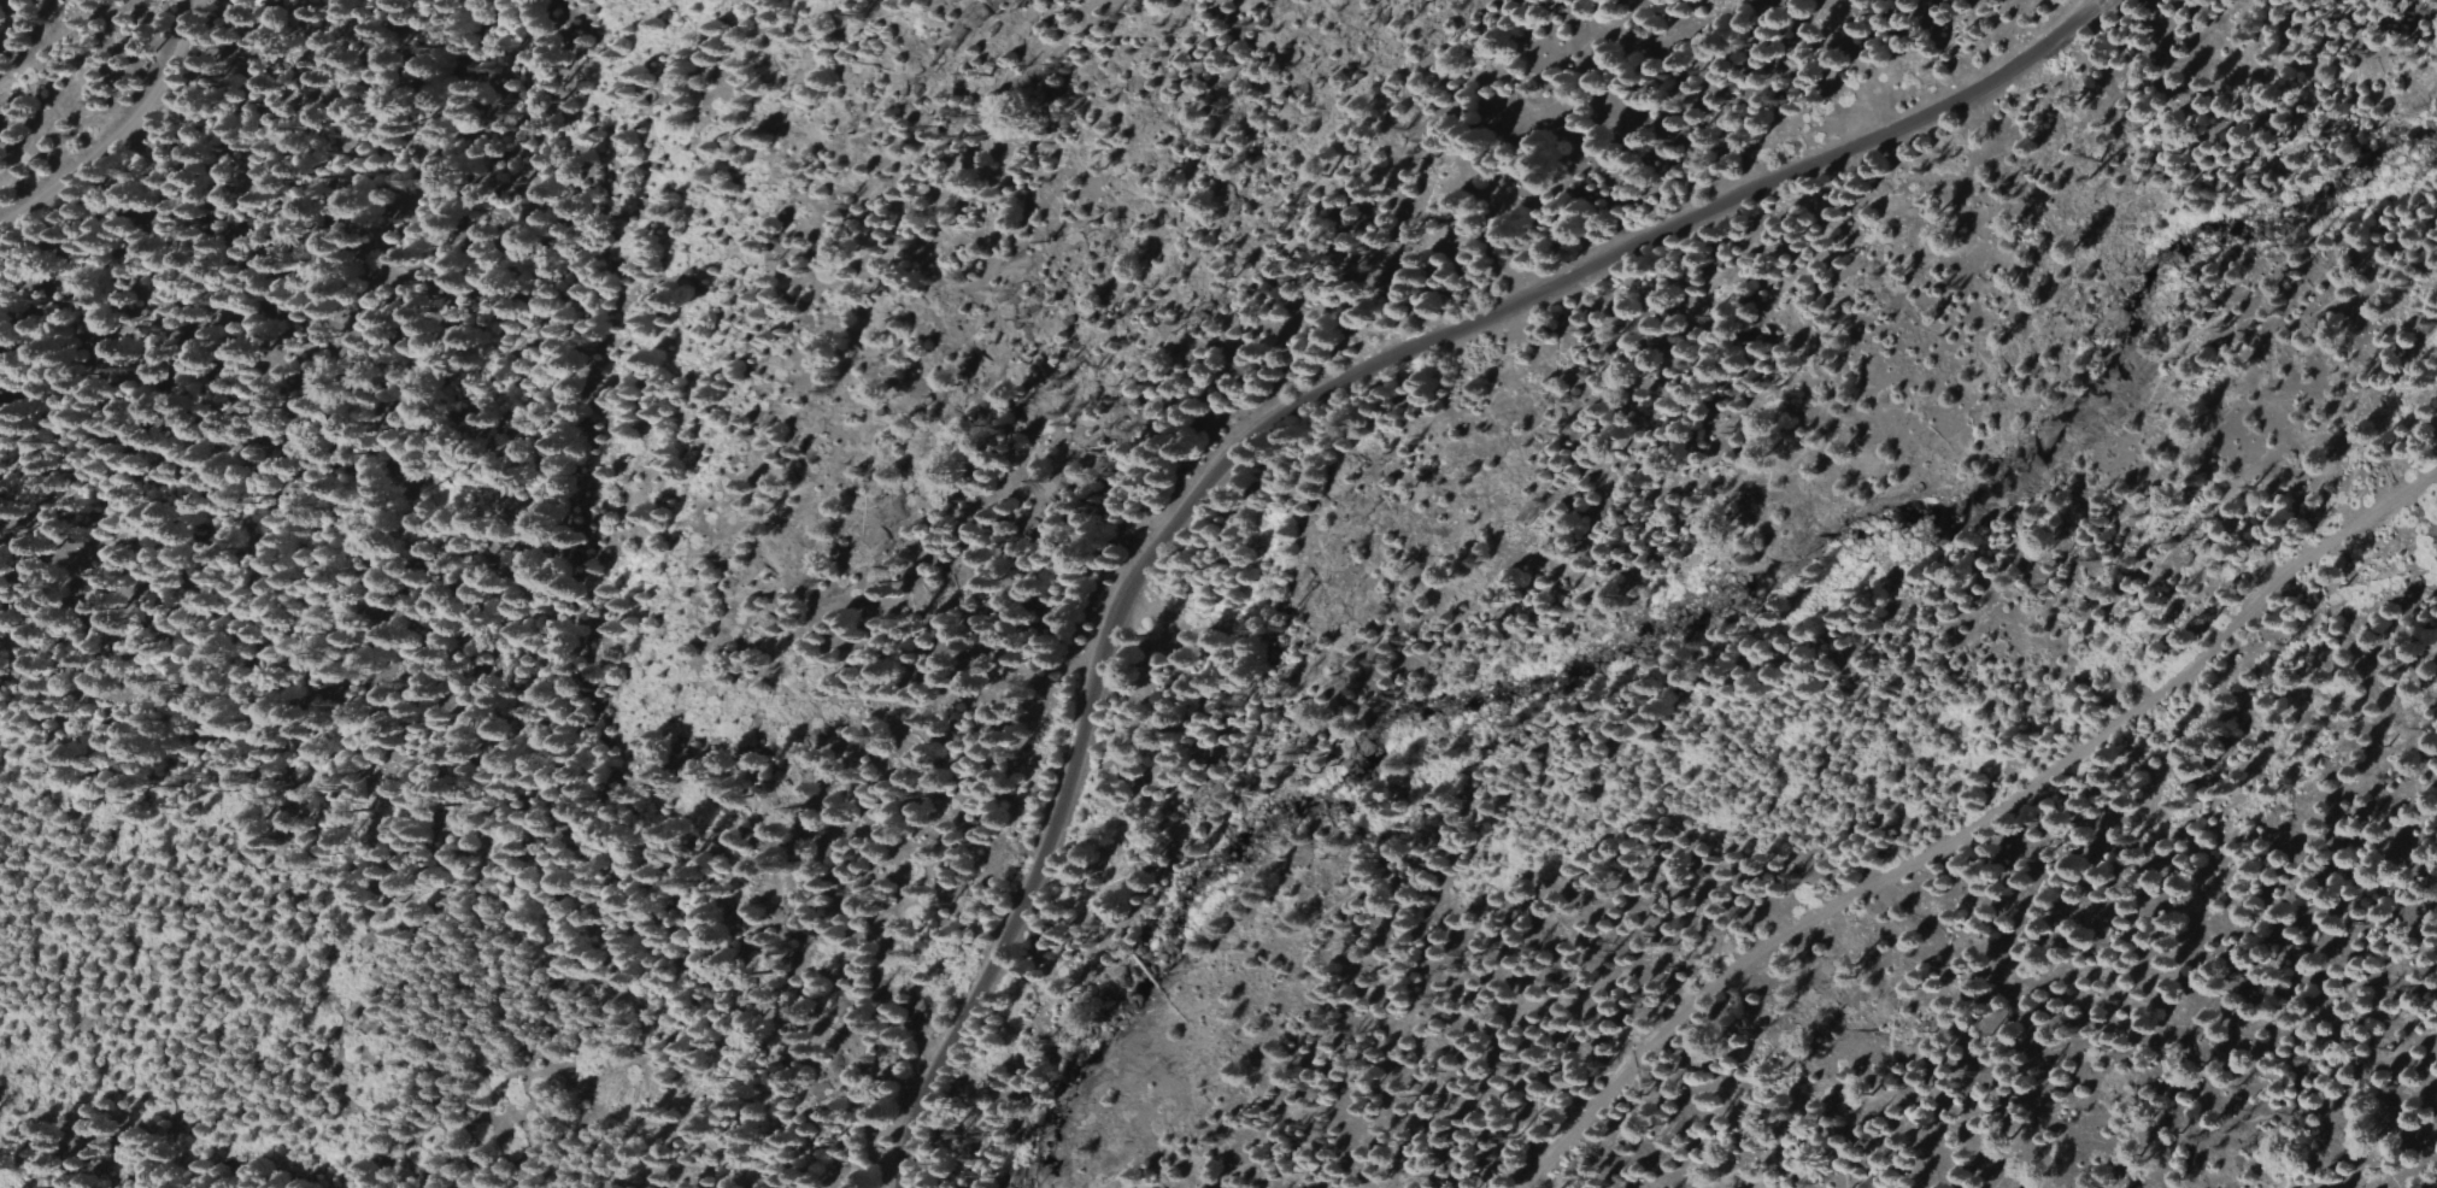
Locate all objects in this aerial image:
road: (124, 130)
road: (1293, 404)
road: (1973, 813)

